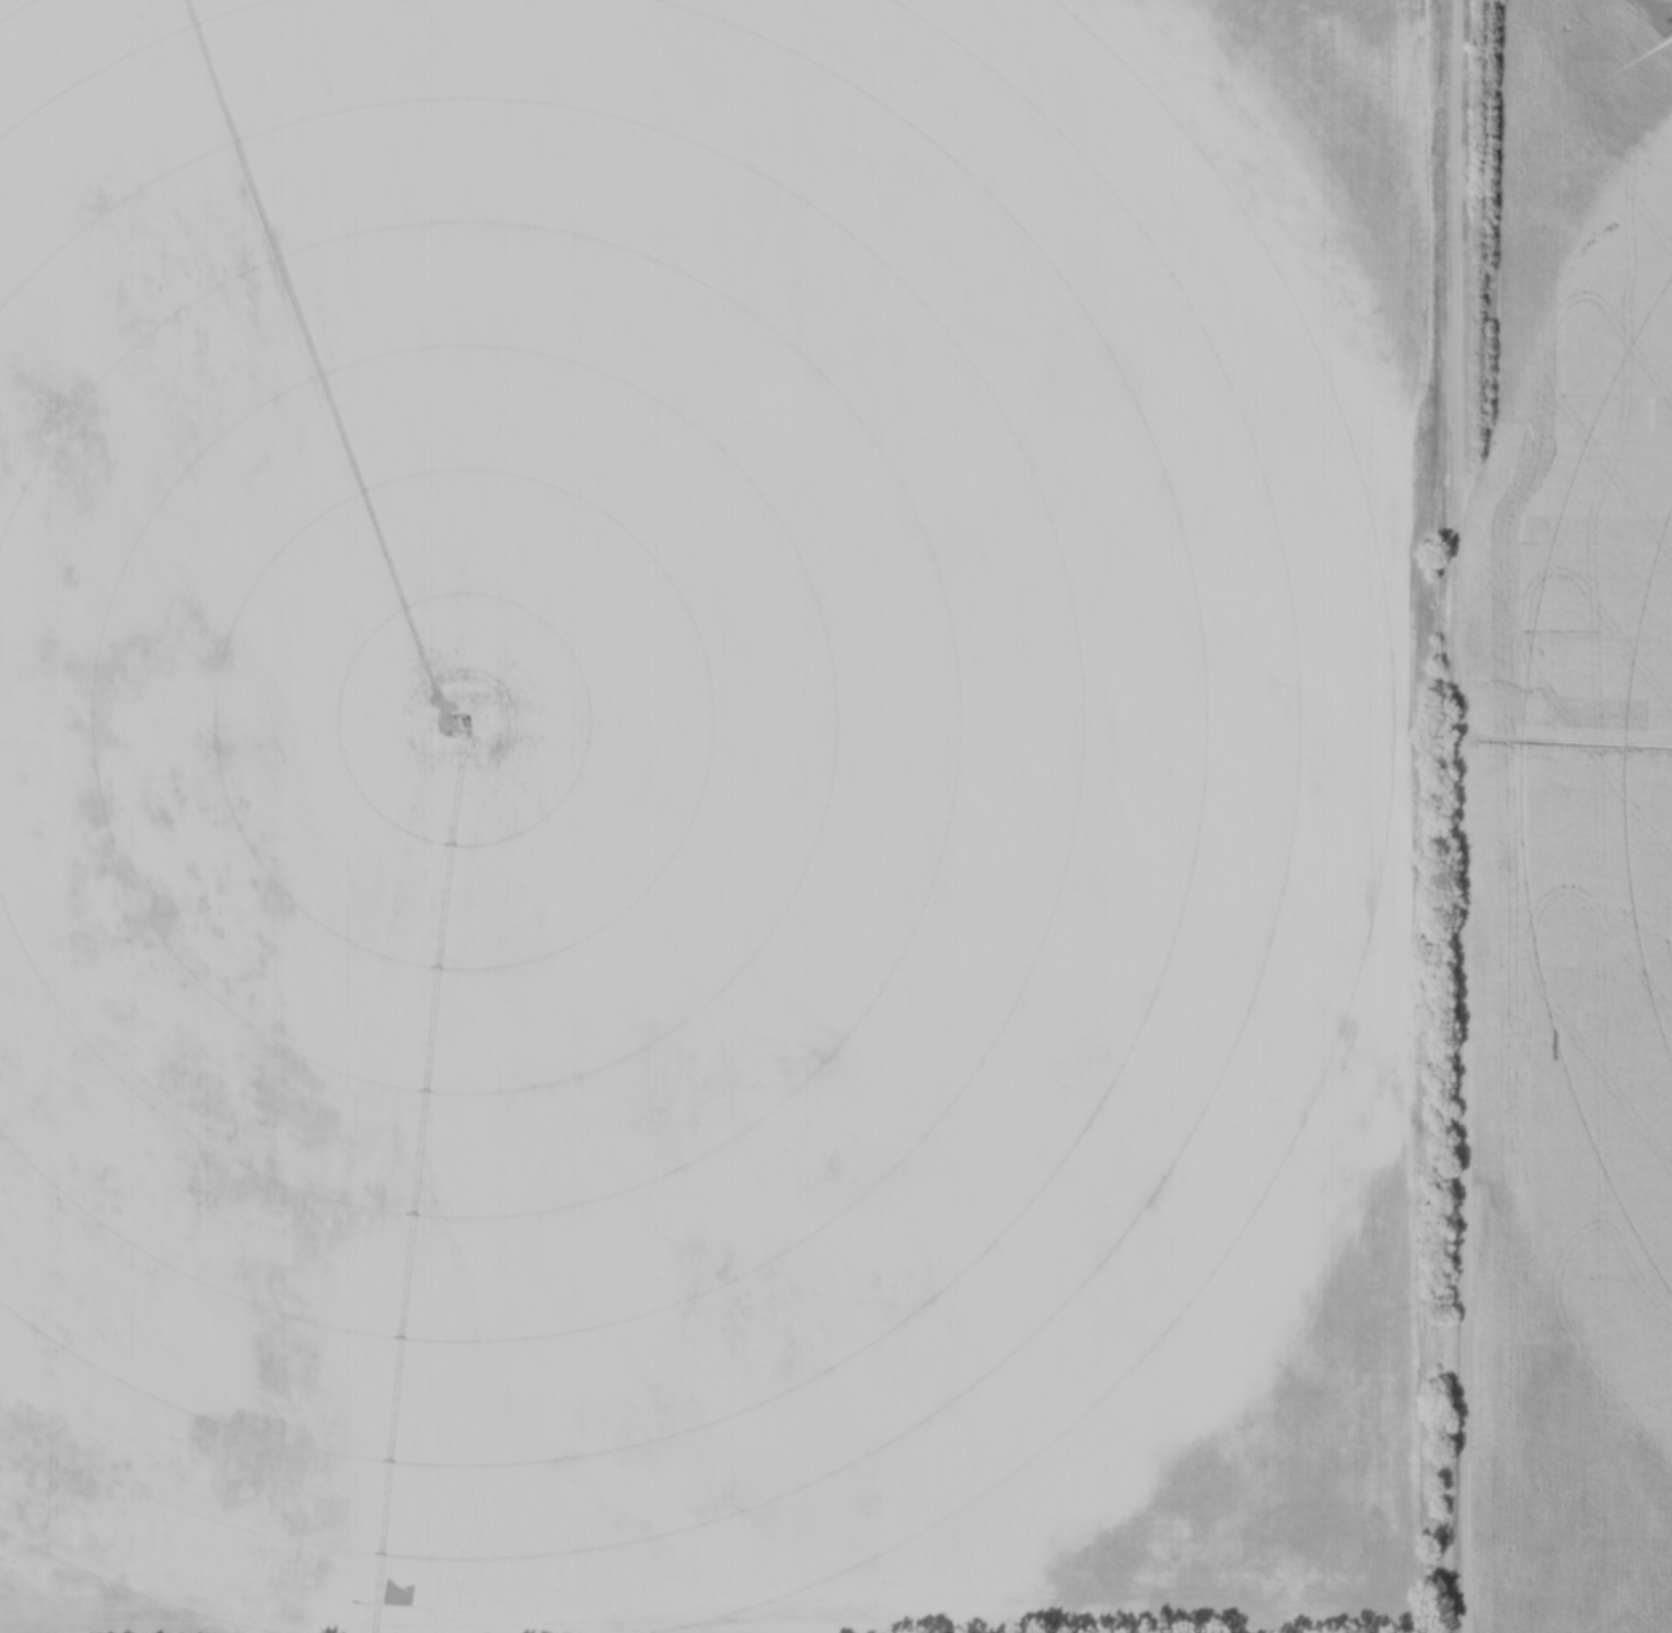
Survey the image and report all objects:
road: (1460, 816)

